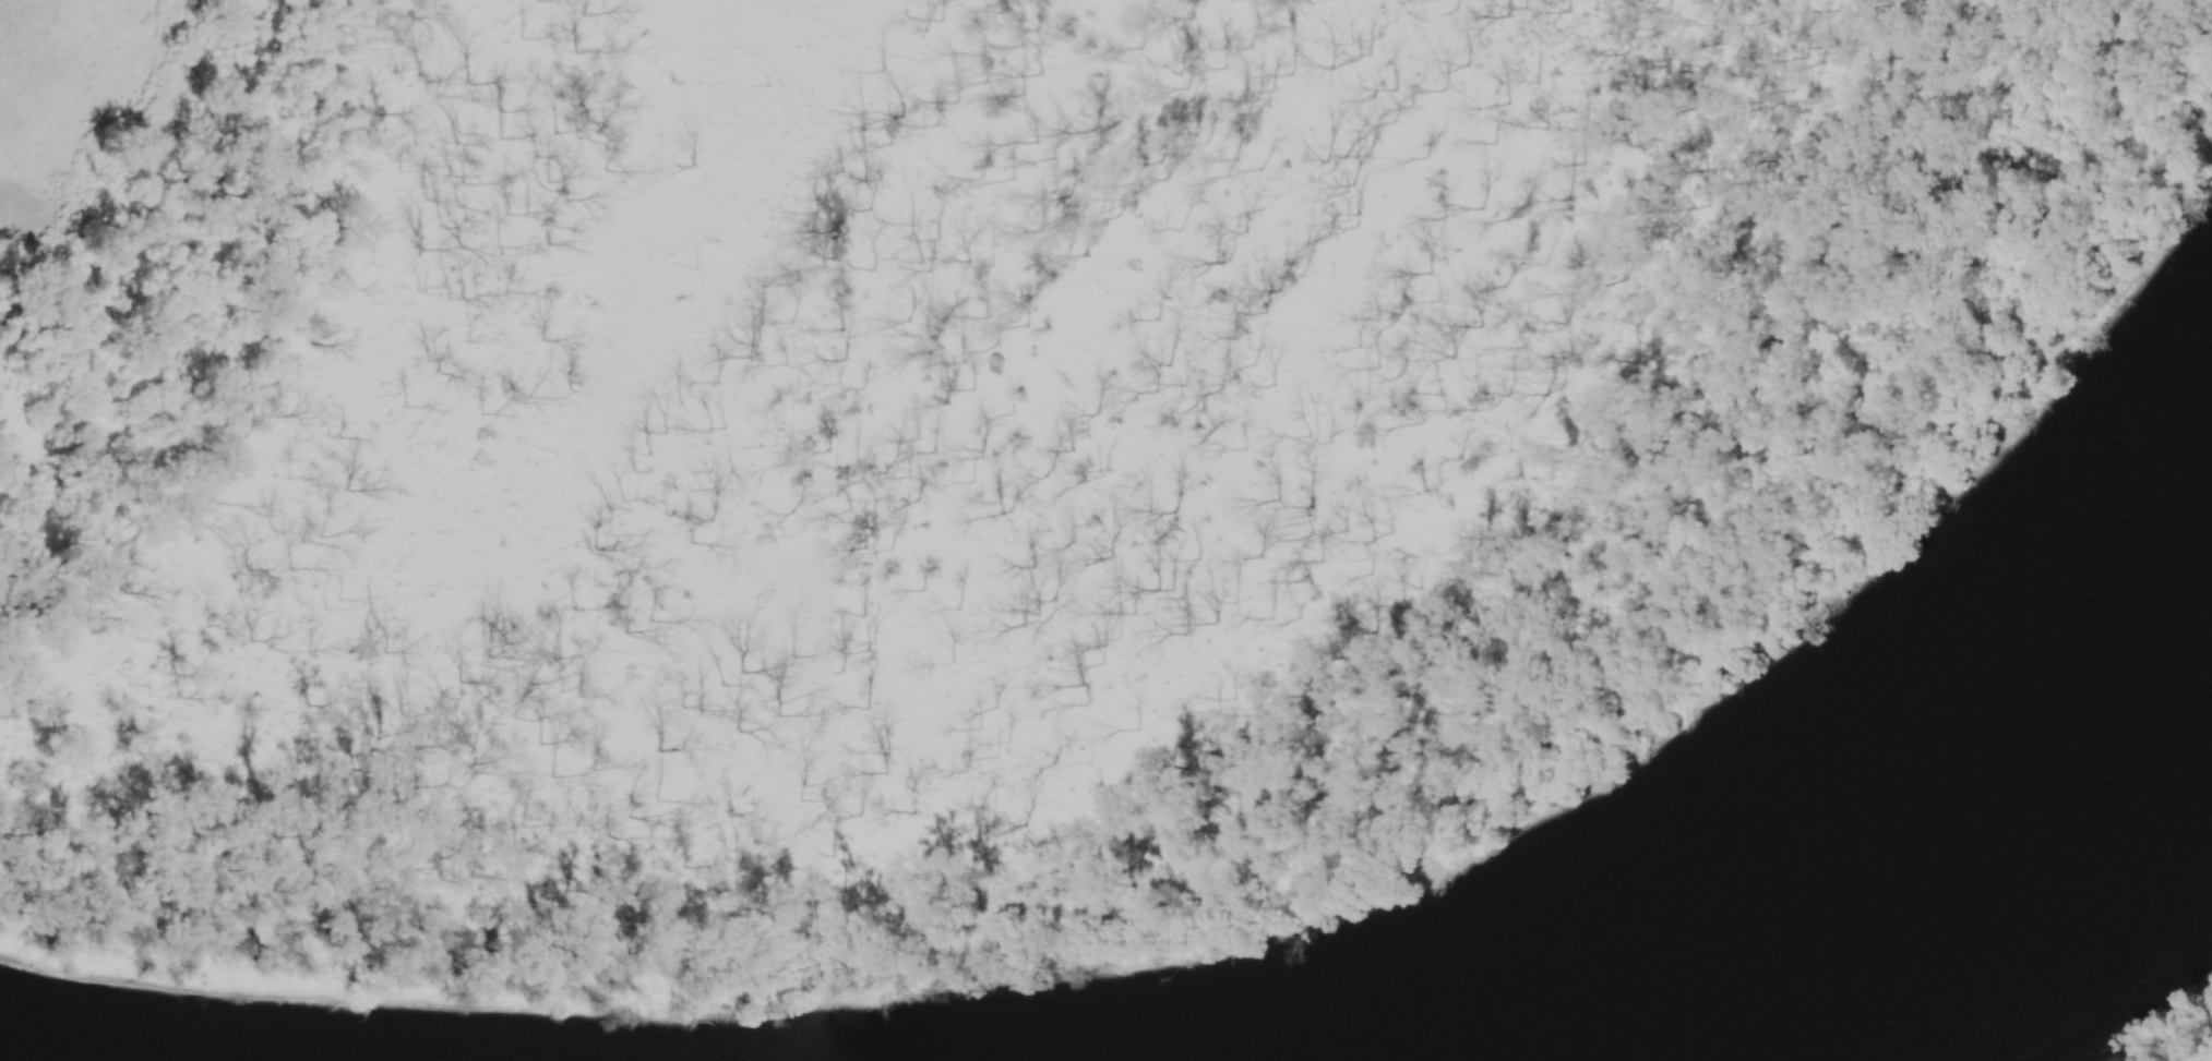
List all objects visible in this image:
river: (1944, 848)

